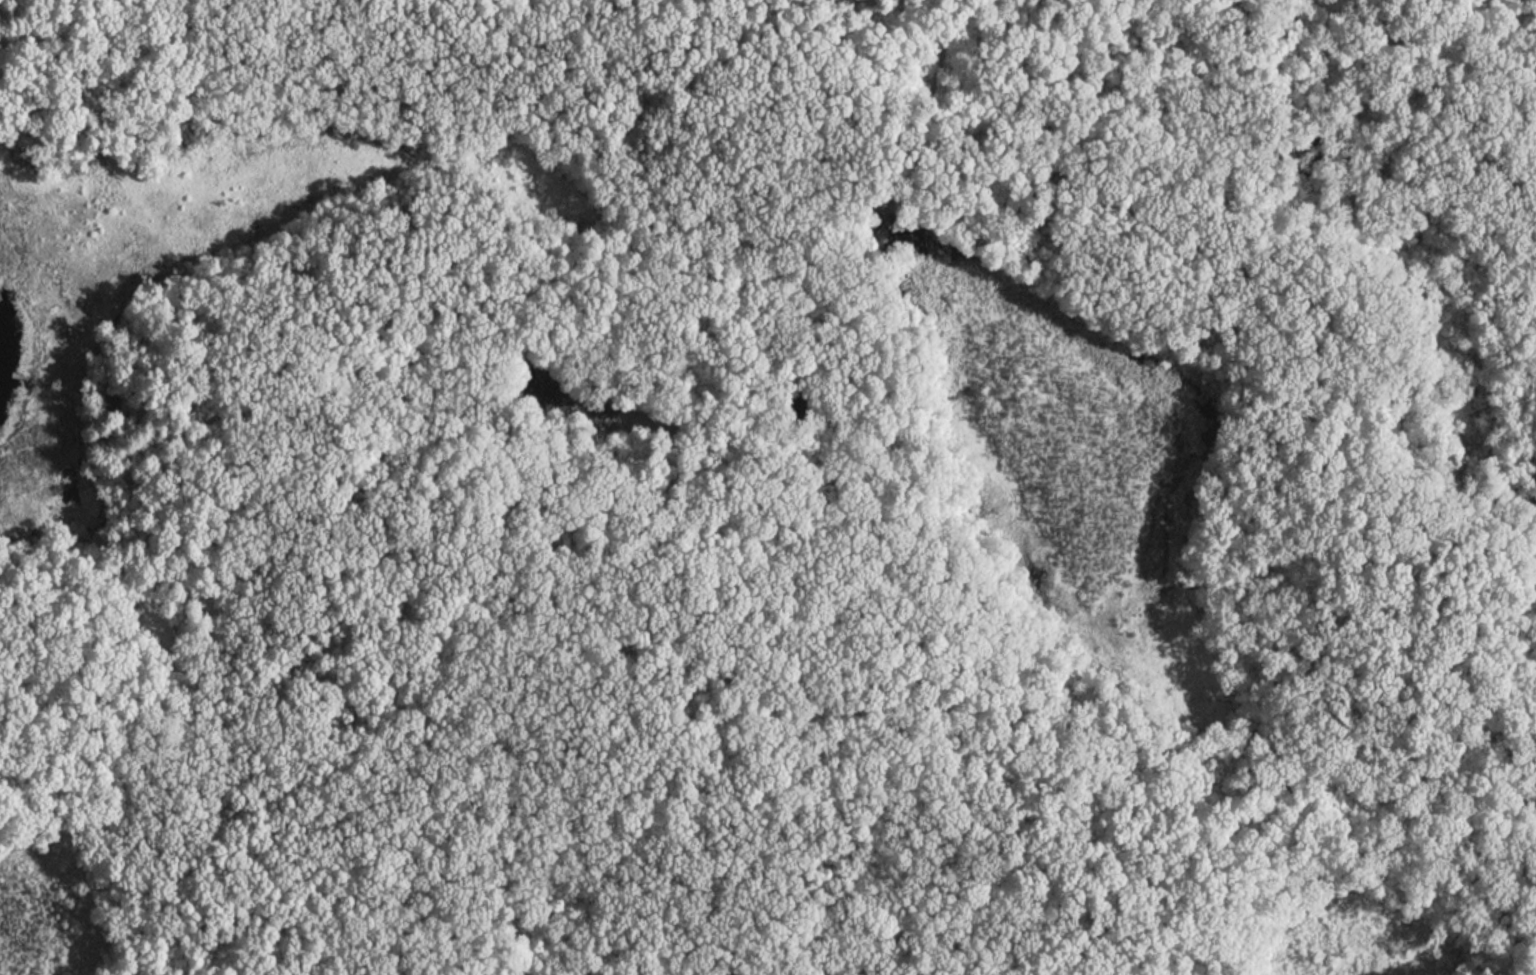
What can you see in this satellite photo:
road: (958, 3)
road: (151, 26)
road: (488, 40)
road: (93, 58)
road: (1476, 143)
road: (591, 264)
pier: (45, 385)
park: (785, 493)
road: (687, 654)
road: (447, 822)
road: (365, 936)

